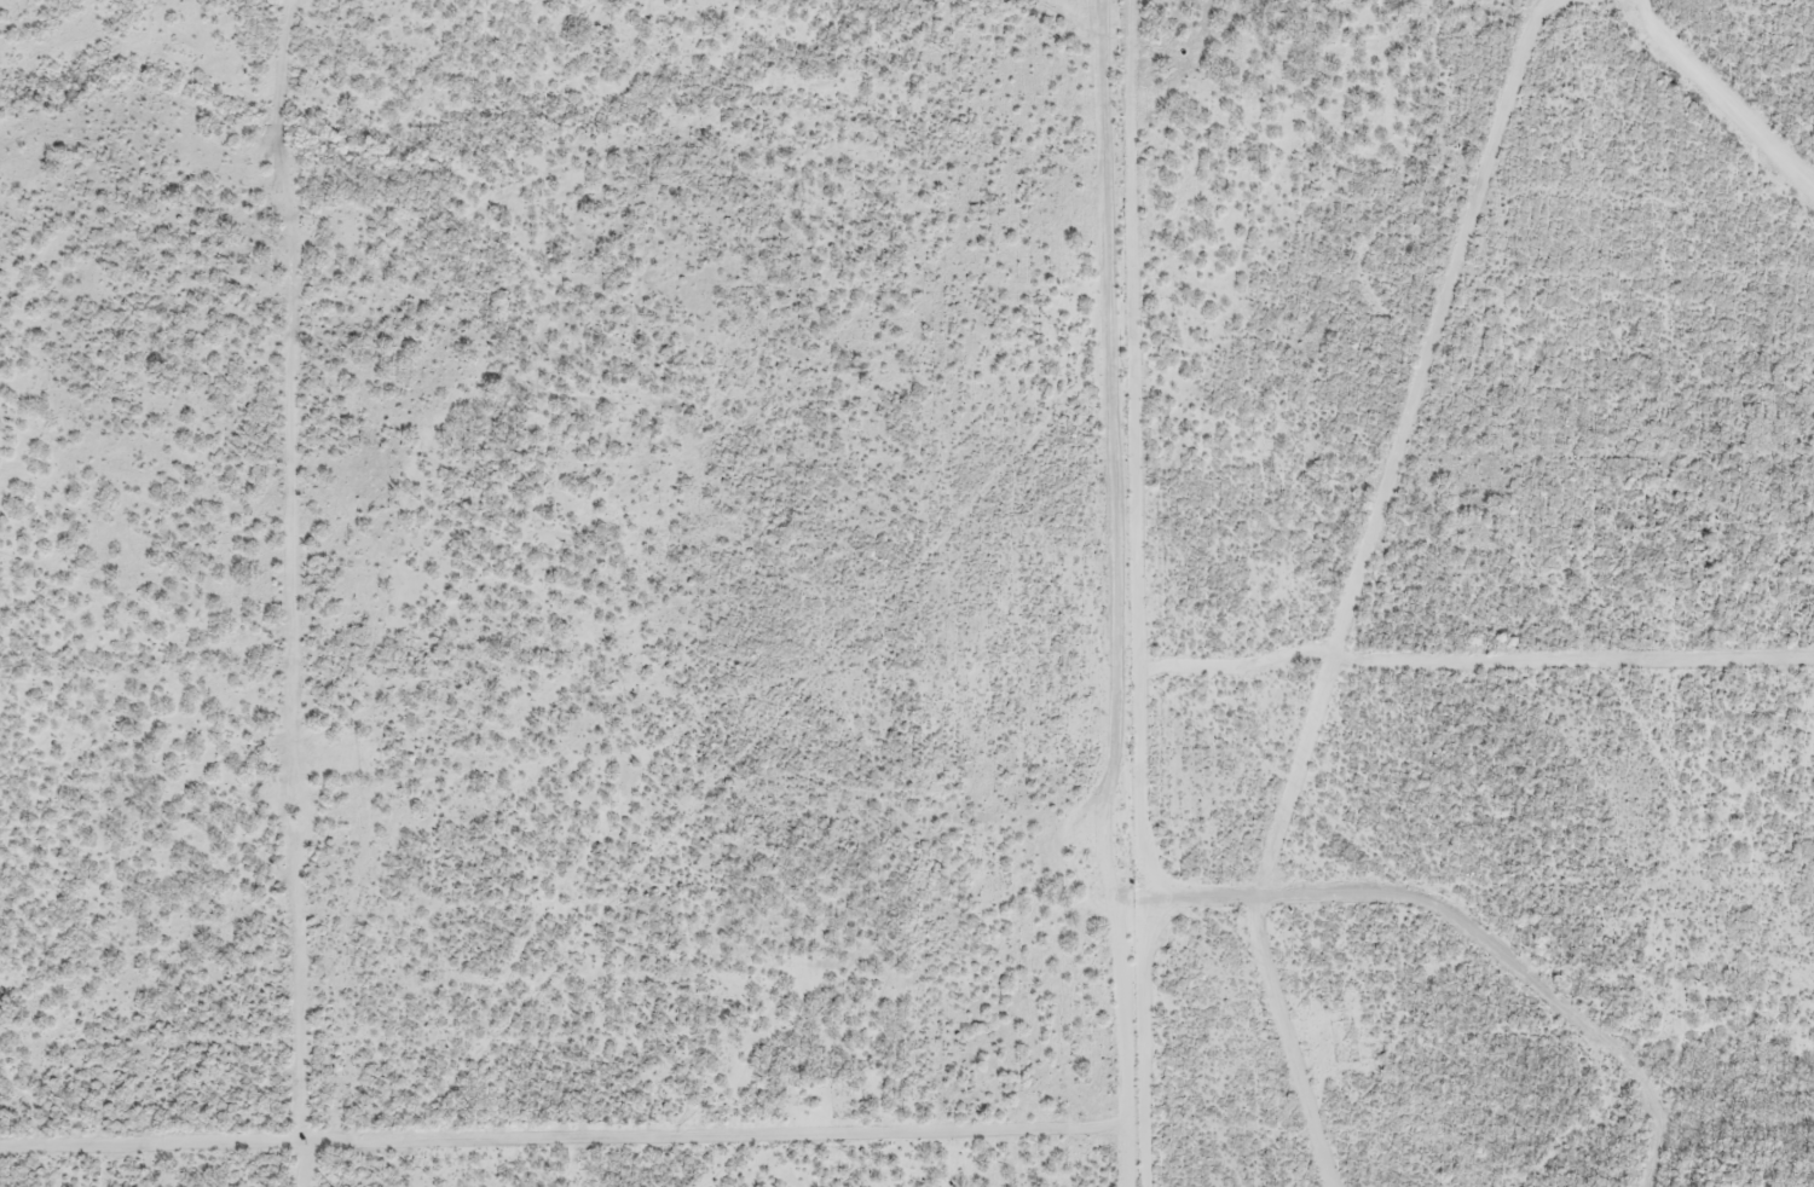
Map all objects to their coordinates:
road: (1562, 572)

